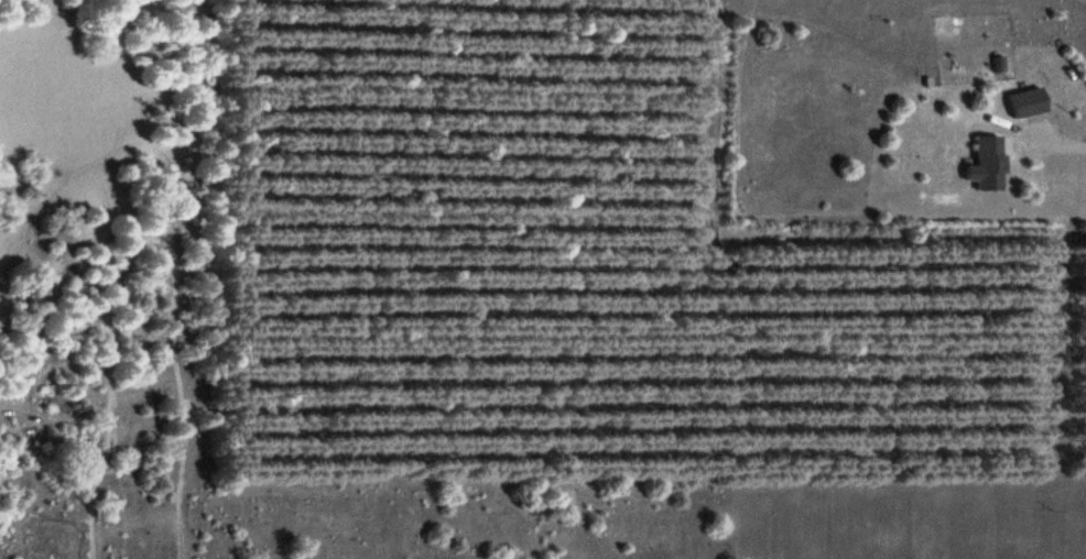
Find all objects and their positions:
building: (1029, 105)
building: (988, 165)

